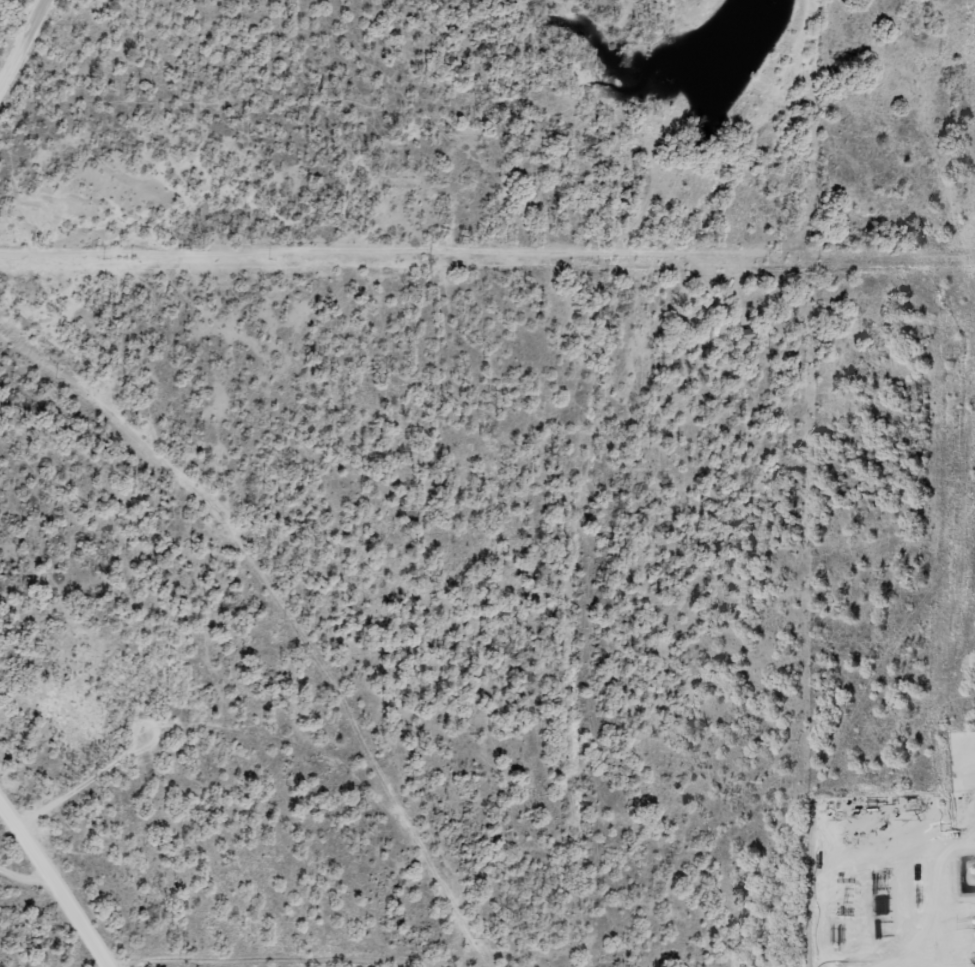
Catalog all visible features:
road: (41, 83)
building: (743, 335)
railway: (616, 456)
road: (32, 856)
road: (65, 864)

